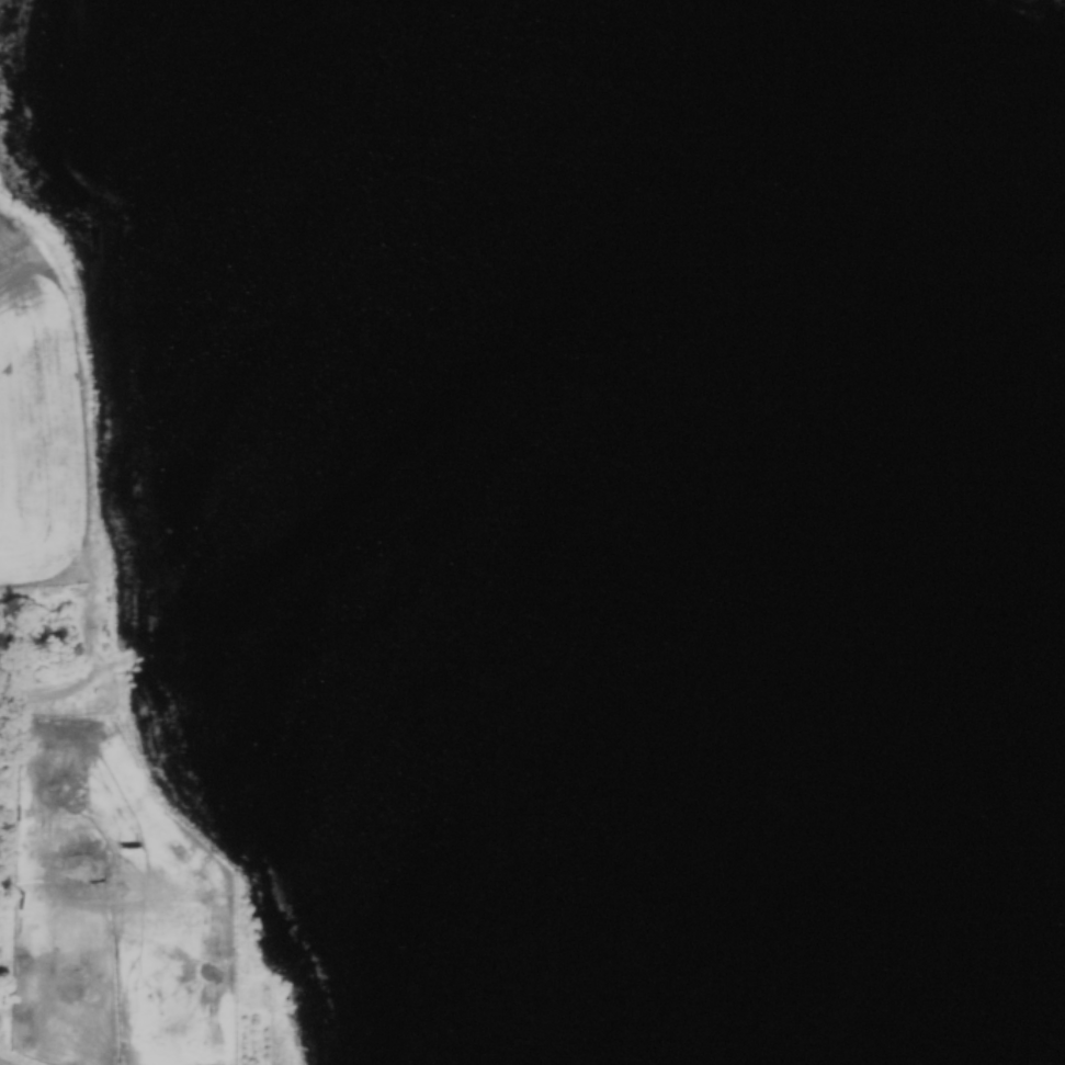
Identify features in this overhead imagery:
building: (79, 864)

